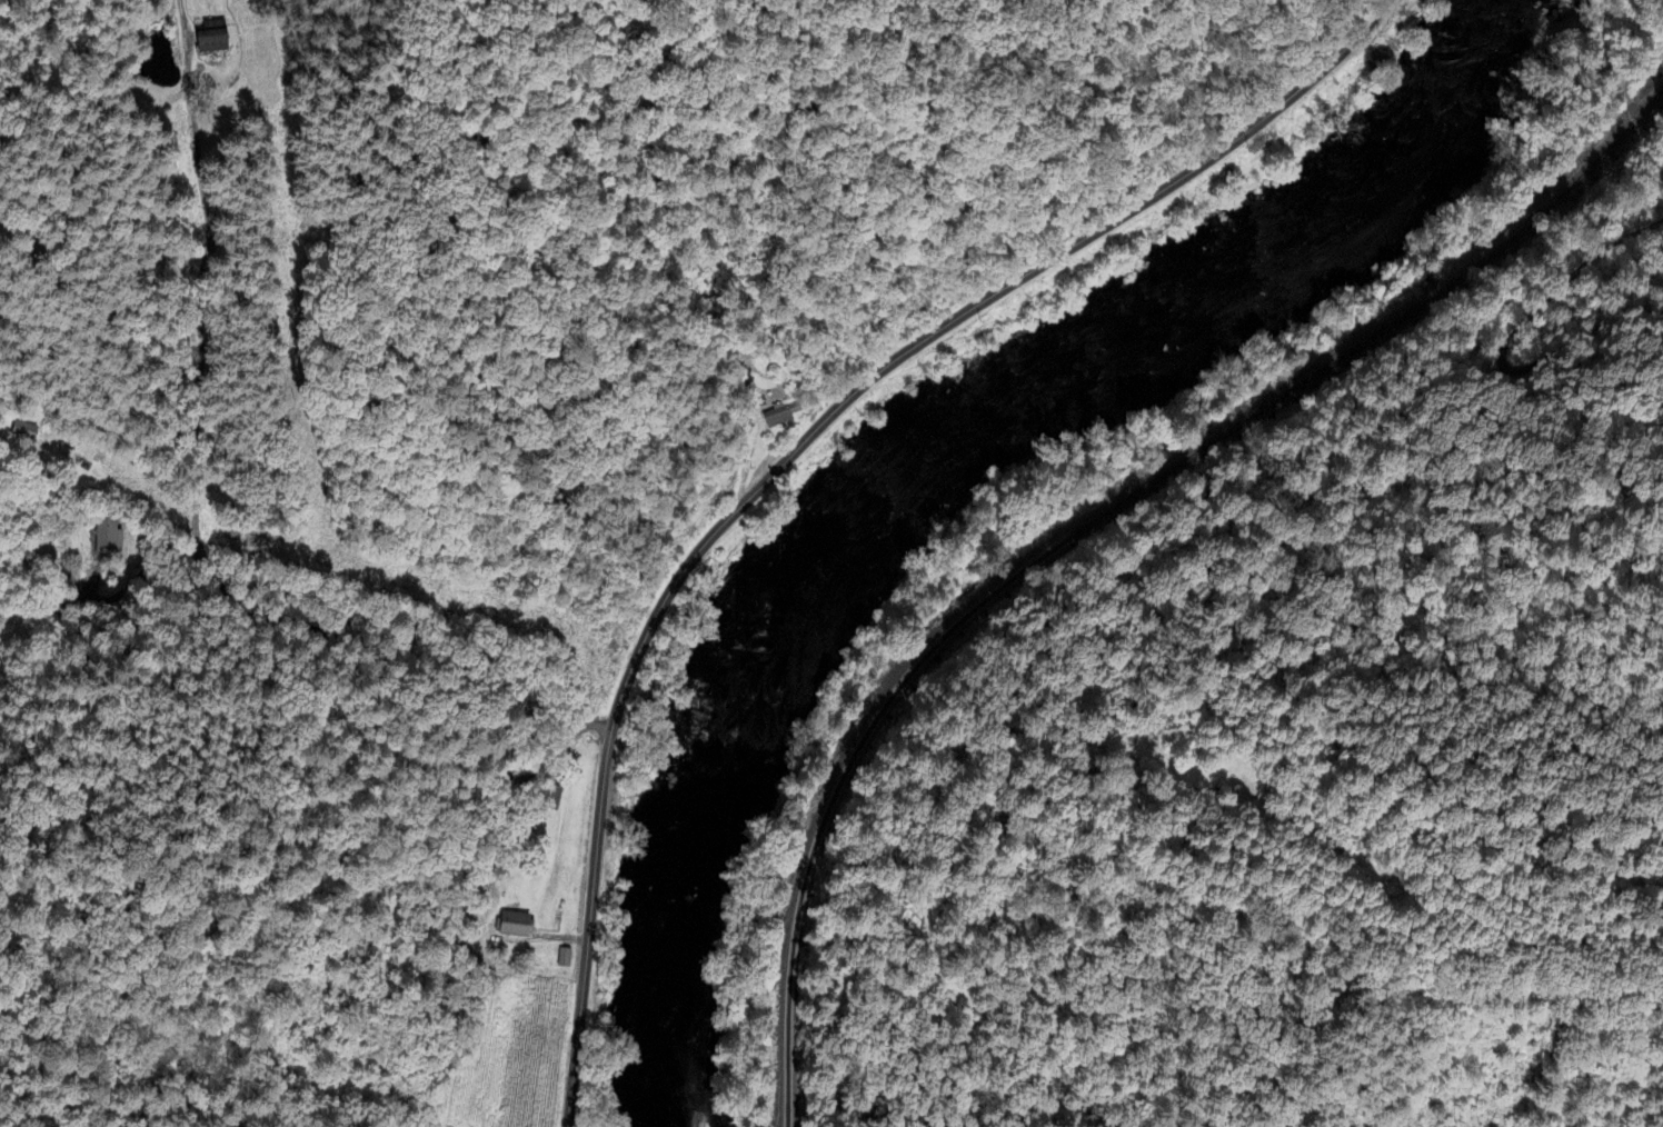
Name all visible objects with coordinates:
building: (215, 36)
road: (183, 90)
road: (1636, 113)
road: (1505, 337)
building: (779, 416)
building: (24, 430)
road: (797, 448)
river: (912, 475)
railway: (1092, 522)
building: (110, 535)
road: (253, 615)
building: (517, 924)
building: (566, 958)

